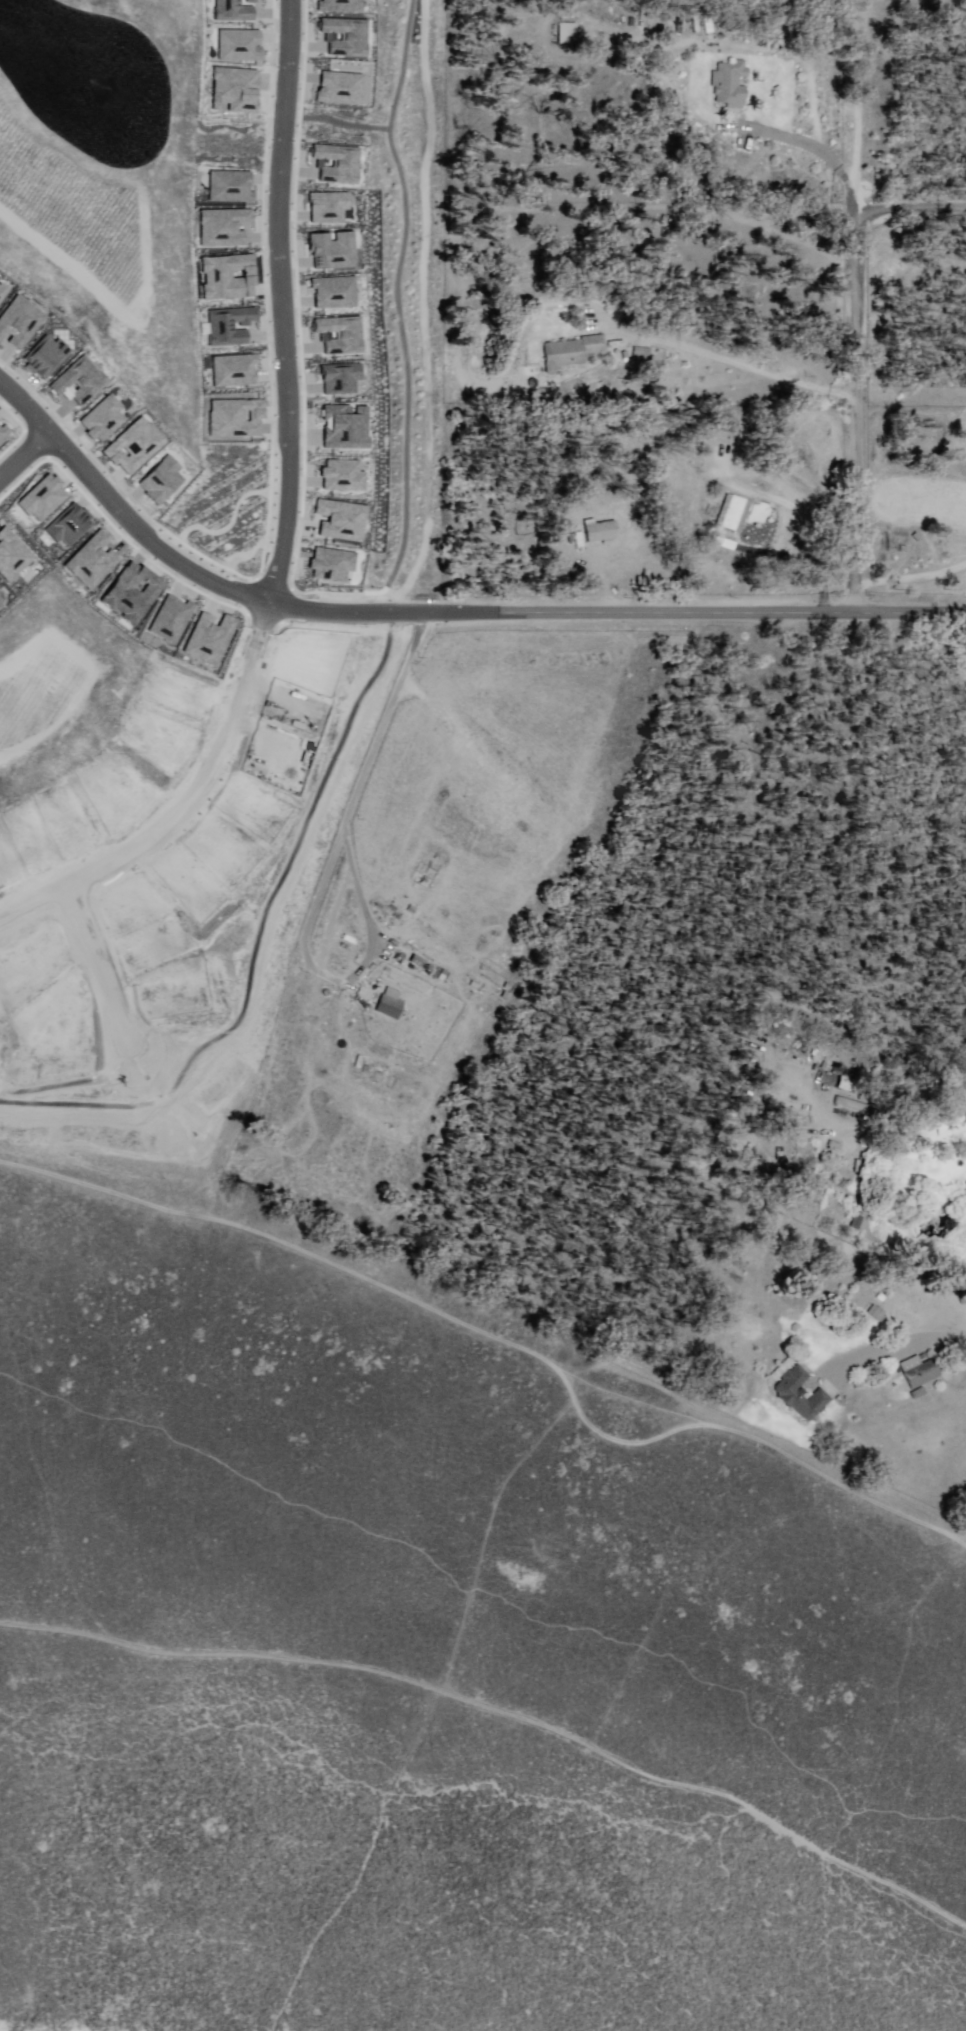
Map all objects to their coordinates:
building: (337, 5)
building: (236, 10)
building: (566, 35)
building: (345, 36)
building: (239, 45)
building: (729, 86)
building: (339, 88)
building: (235, 89)
road: (813, 148)
building: (336, 162)
building: (230, 186)
building: (328, 207)
road: (910, 211)
building: (224, 227)
building: (333, 249)
building: (228, 277)
building: (332, 291)
building: (2, 292)
road: (290, 302)
road: (424, 309)
building: (18, 322)
building: (230, 326)
building: (339, 335)
building: (570, 354)
building: (48, 356)
road: (747, 363)
building: (236, 369)
building: (340, 378)
building: (79, 382)
road: (867, 400)
building: (103, 418)
building: (237, 418)
building: (344, 428)
building: (739, 444)
building: (135, 446)
road: (25, 457)
building: (343, 476)
building: (163, 481)
building: (734, 514)
building: (338, 521)
building: (597, 529)
road: (170, 553)
road: (810, 559)
road: (620, 580)
road: (683, 612)
road: (354, 790)
building: (416, 961)
building: (390, 1004)
building: (876, 1314)
road: (897, 1345)
building: (918, 1375)
building: (799, 1394)

